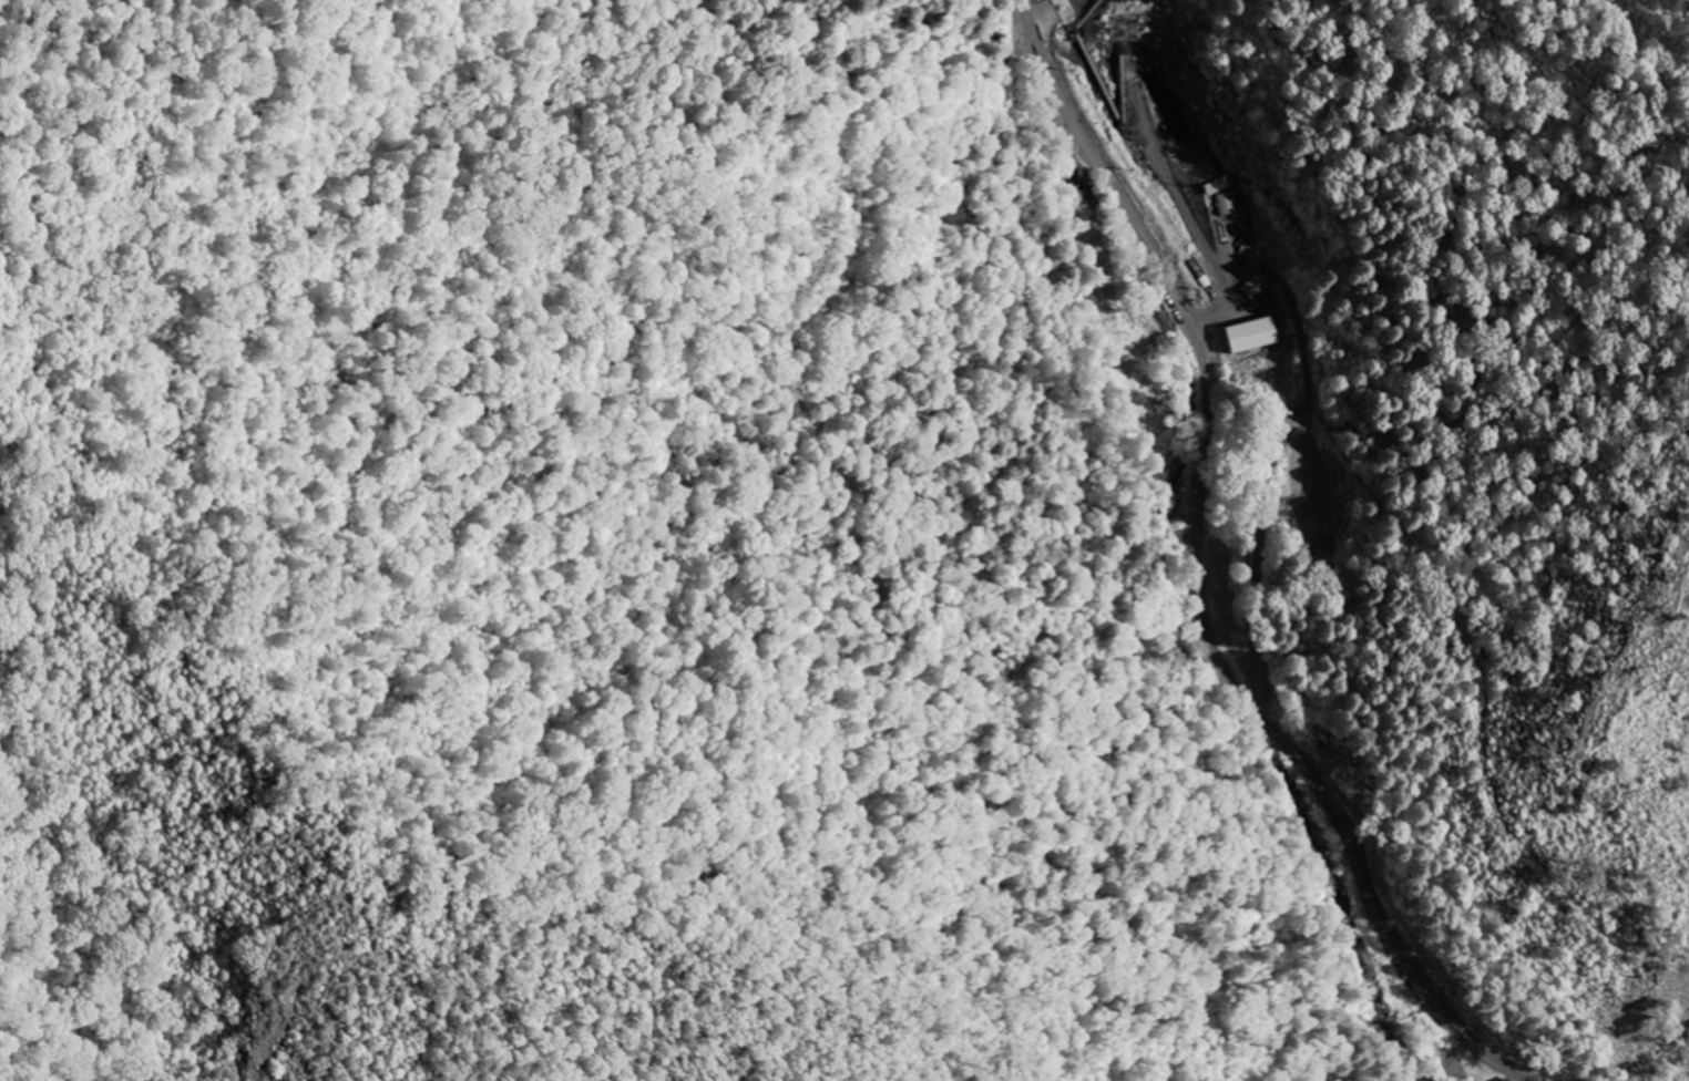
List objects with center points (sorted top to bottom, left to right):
building: (1228, 204)
building: (1256, 287)
building: (1248, 336)
road: (1201, 573)
road: (1256, 590)
building: (1507, 1079)
building: (1503, 1080)

